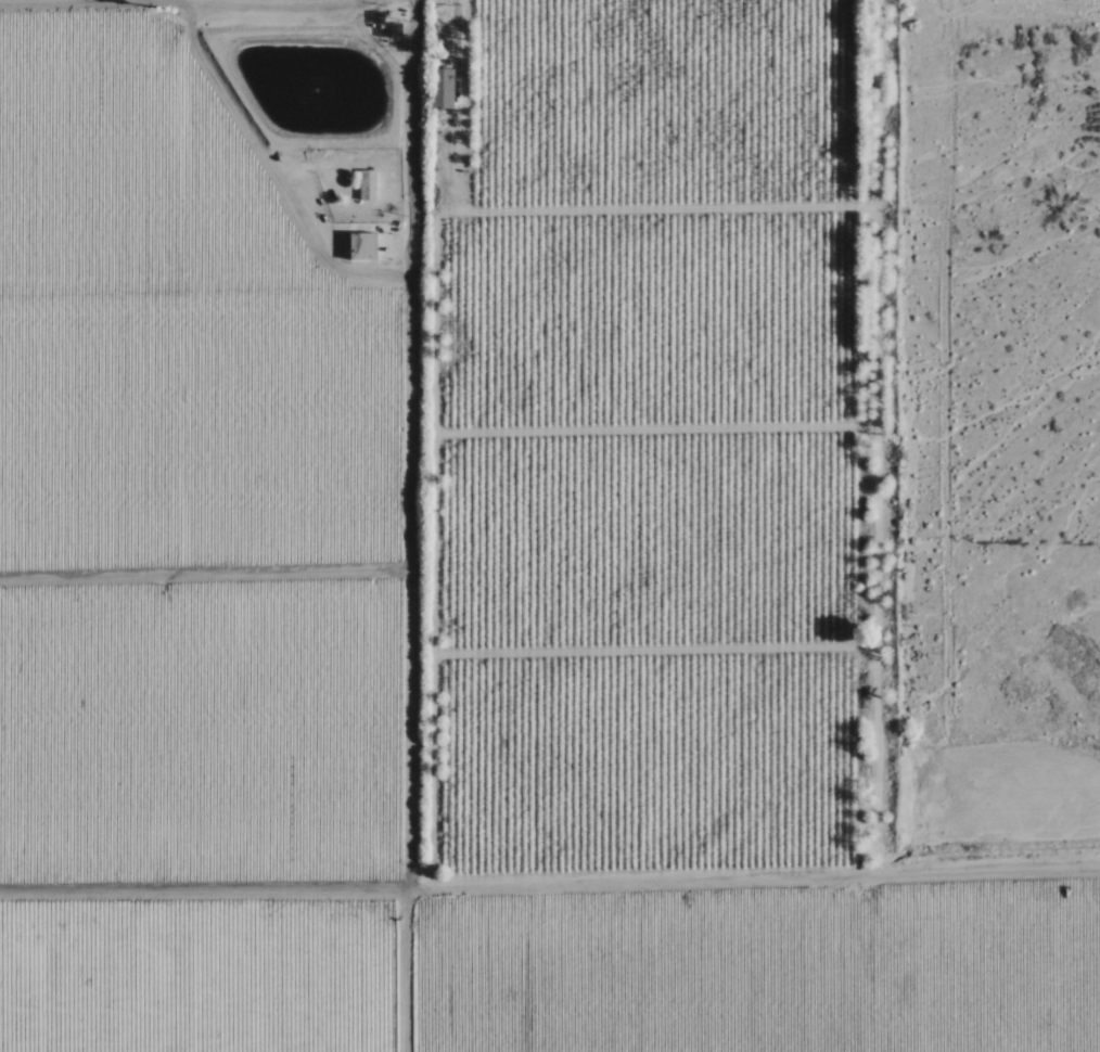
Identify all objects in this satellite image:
building: (440, 88)
building: (367, 184)
building: (362, 246)

